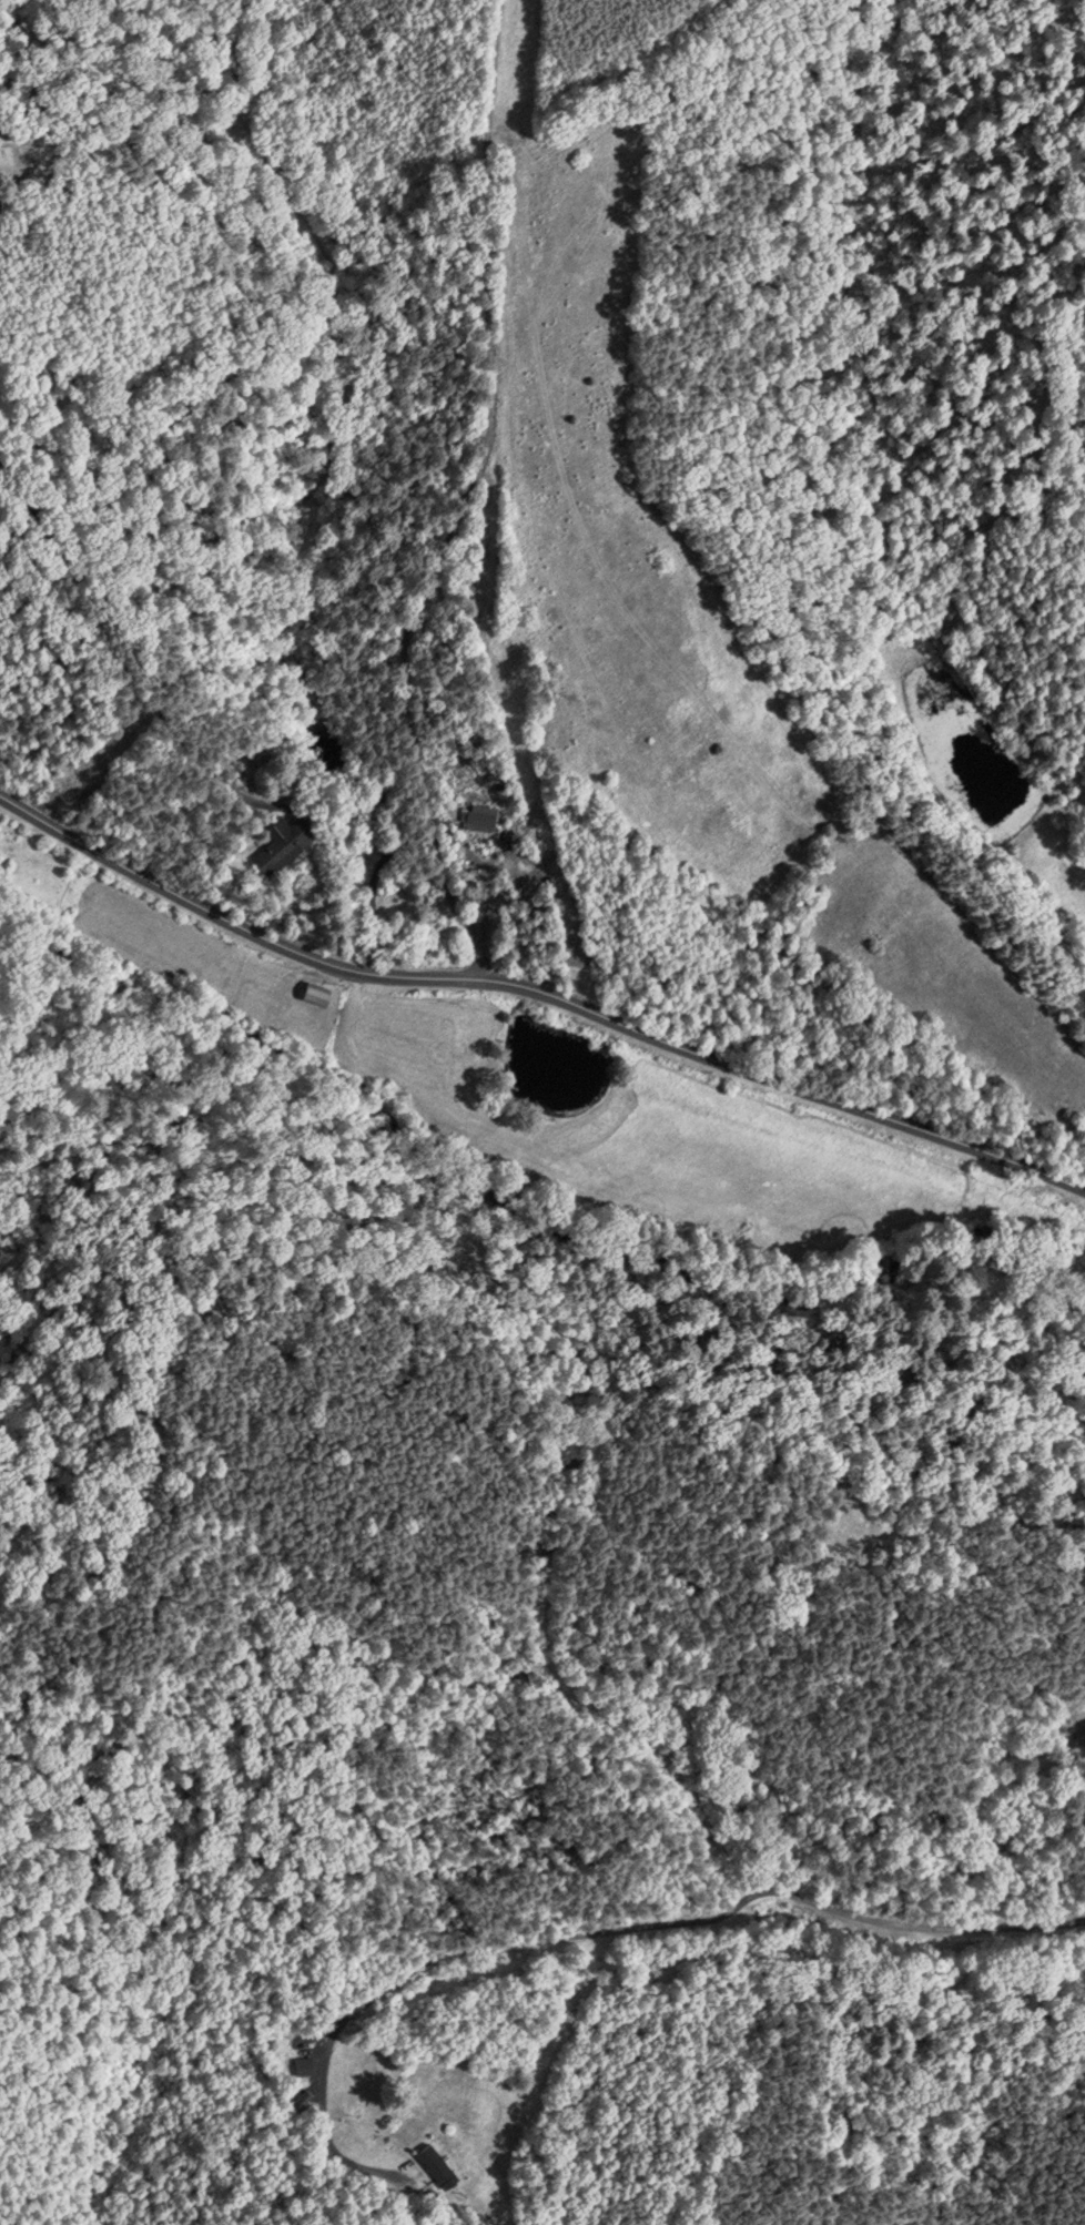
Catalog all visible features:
road: (469, 497)
road: (155, 698)
building: (266, 748)
building: (287, 841)
road: (180, 901)
road: (478, 916)
building: (321, 992)
road: (730, 1070)
road: (611, 1938)
building: (437, 2161)

